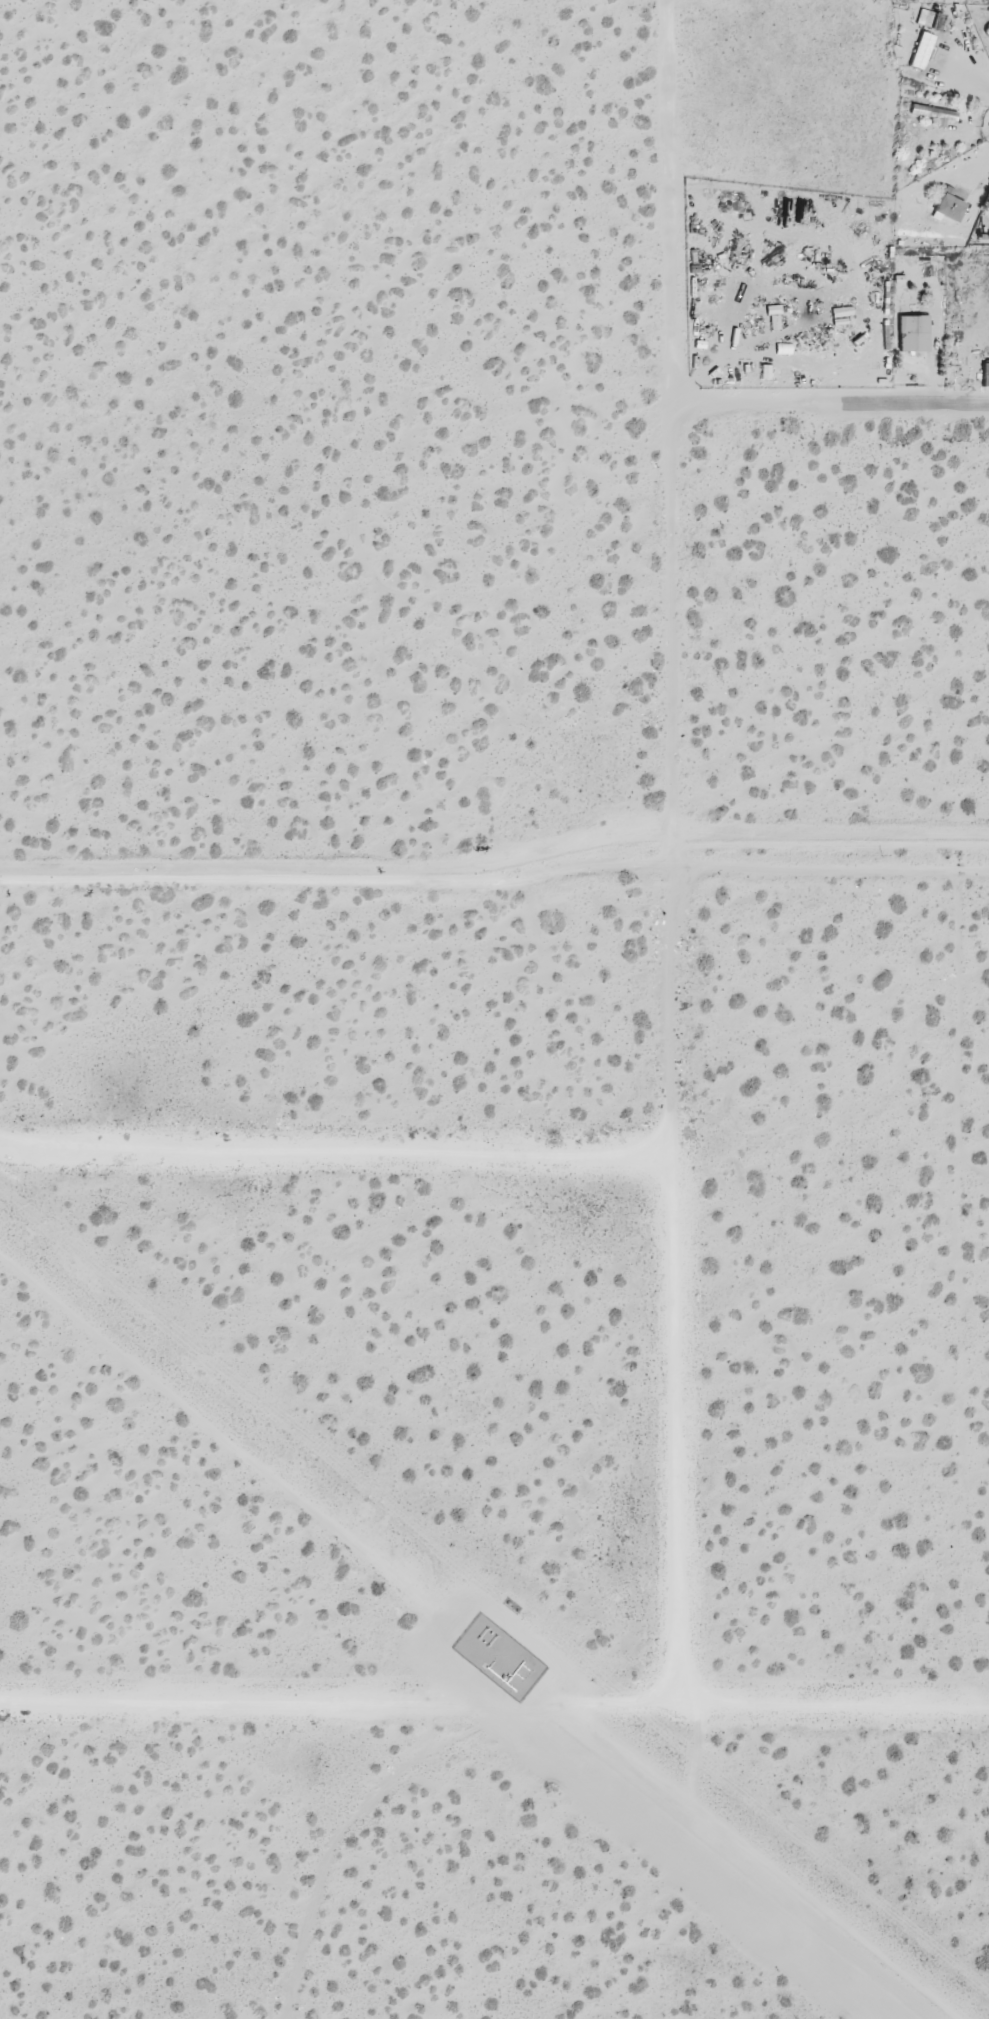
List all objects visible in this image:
building: (924, 18)
building: (920, 51)
building: (924, 112)
building: (947, 208)
building: (911, 334)
road: (829, 405)
road: (670, 433)
road: (495, 883)
road: (478, 1703)

